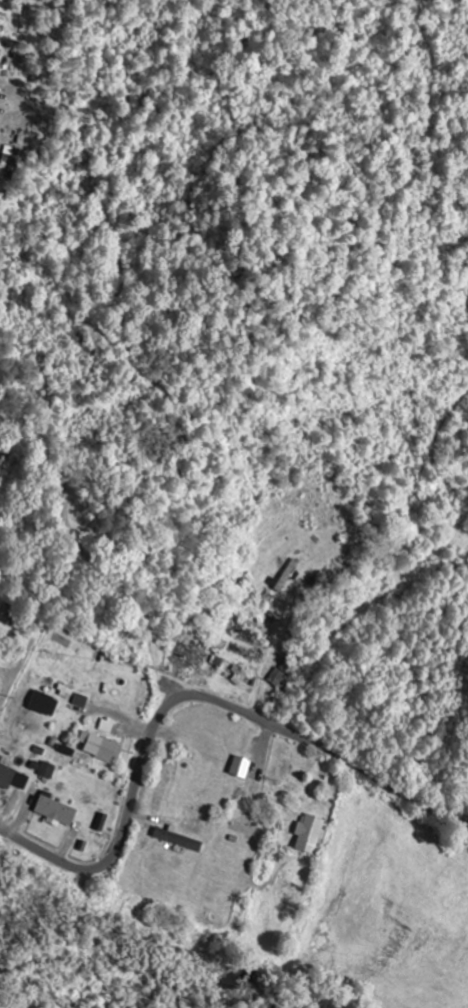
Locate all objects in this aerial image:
building: (19, 622)
building: (281, 680)
road: (186, 698)
building: (83, 702)
building: (46, 705)
building: (102, 748)
building: (242, 768)
building: (49, 771)
building: (12, 777)
building: (58, 812)
building: (312, 834)
building: (180, 841)

